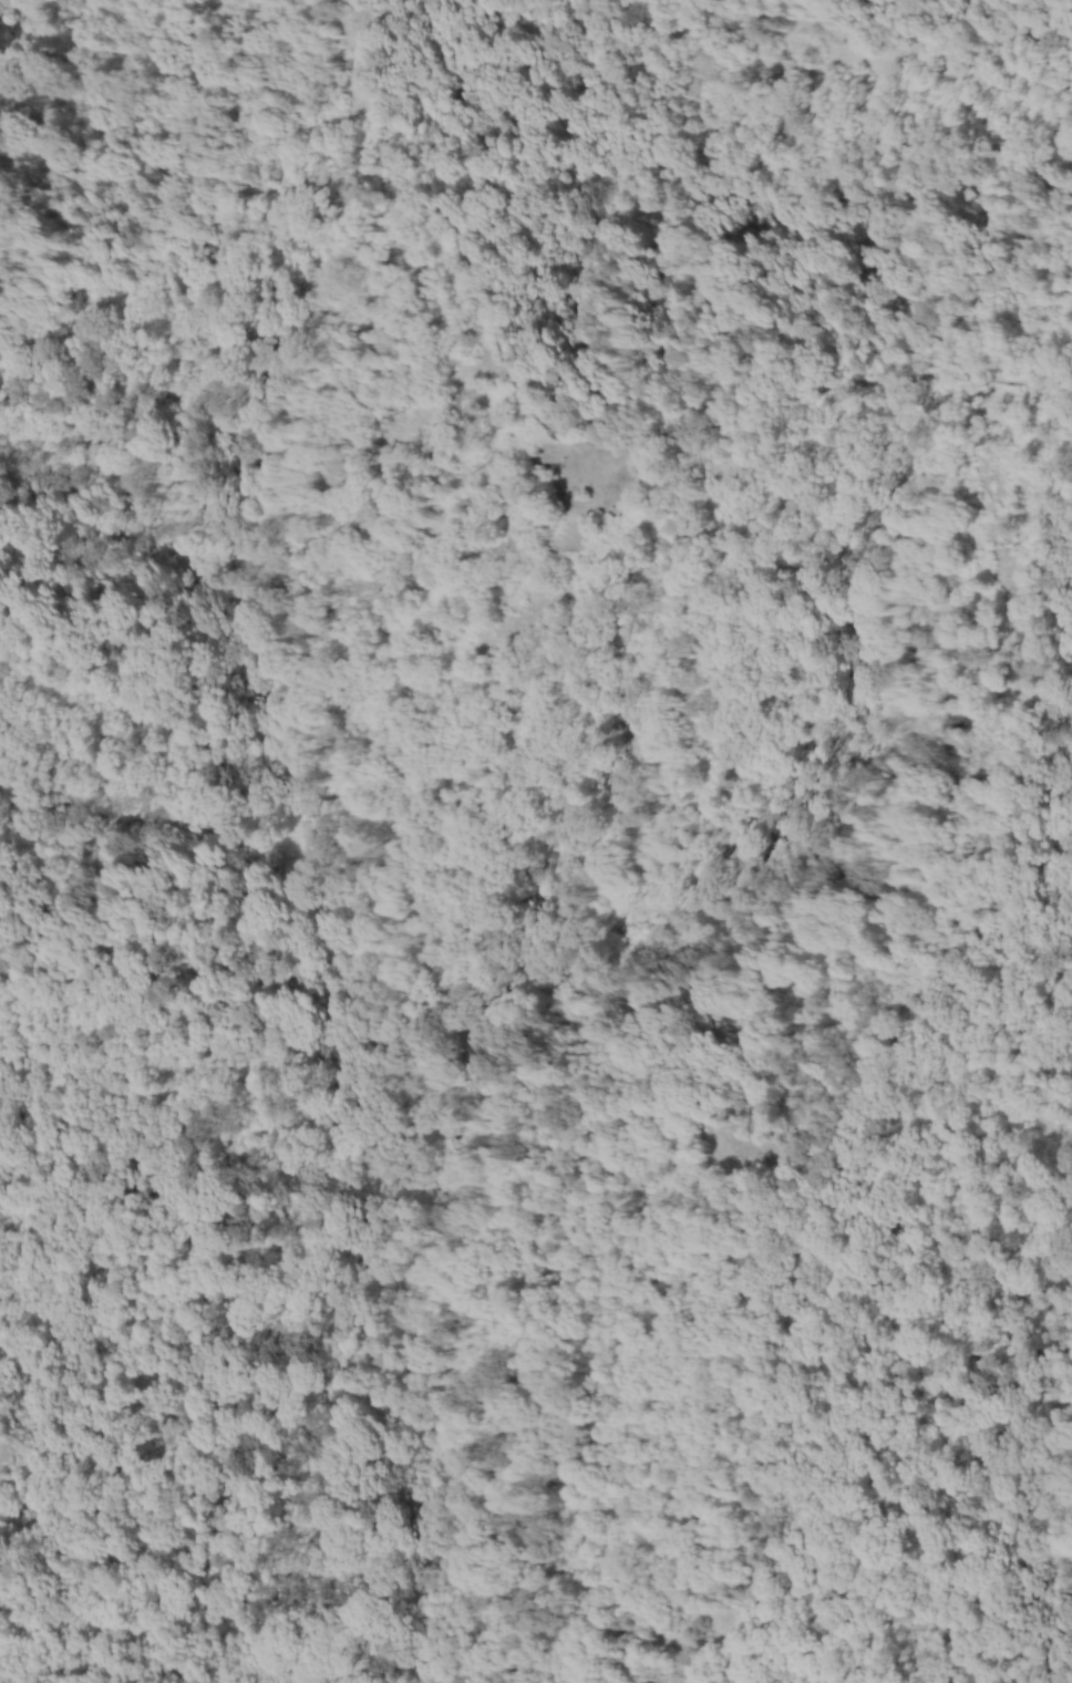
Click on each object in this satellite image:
road: (494, 319)
road: (3, 1365)
road: (4, 1601)

